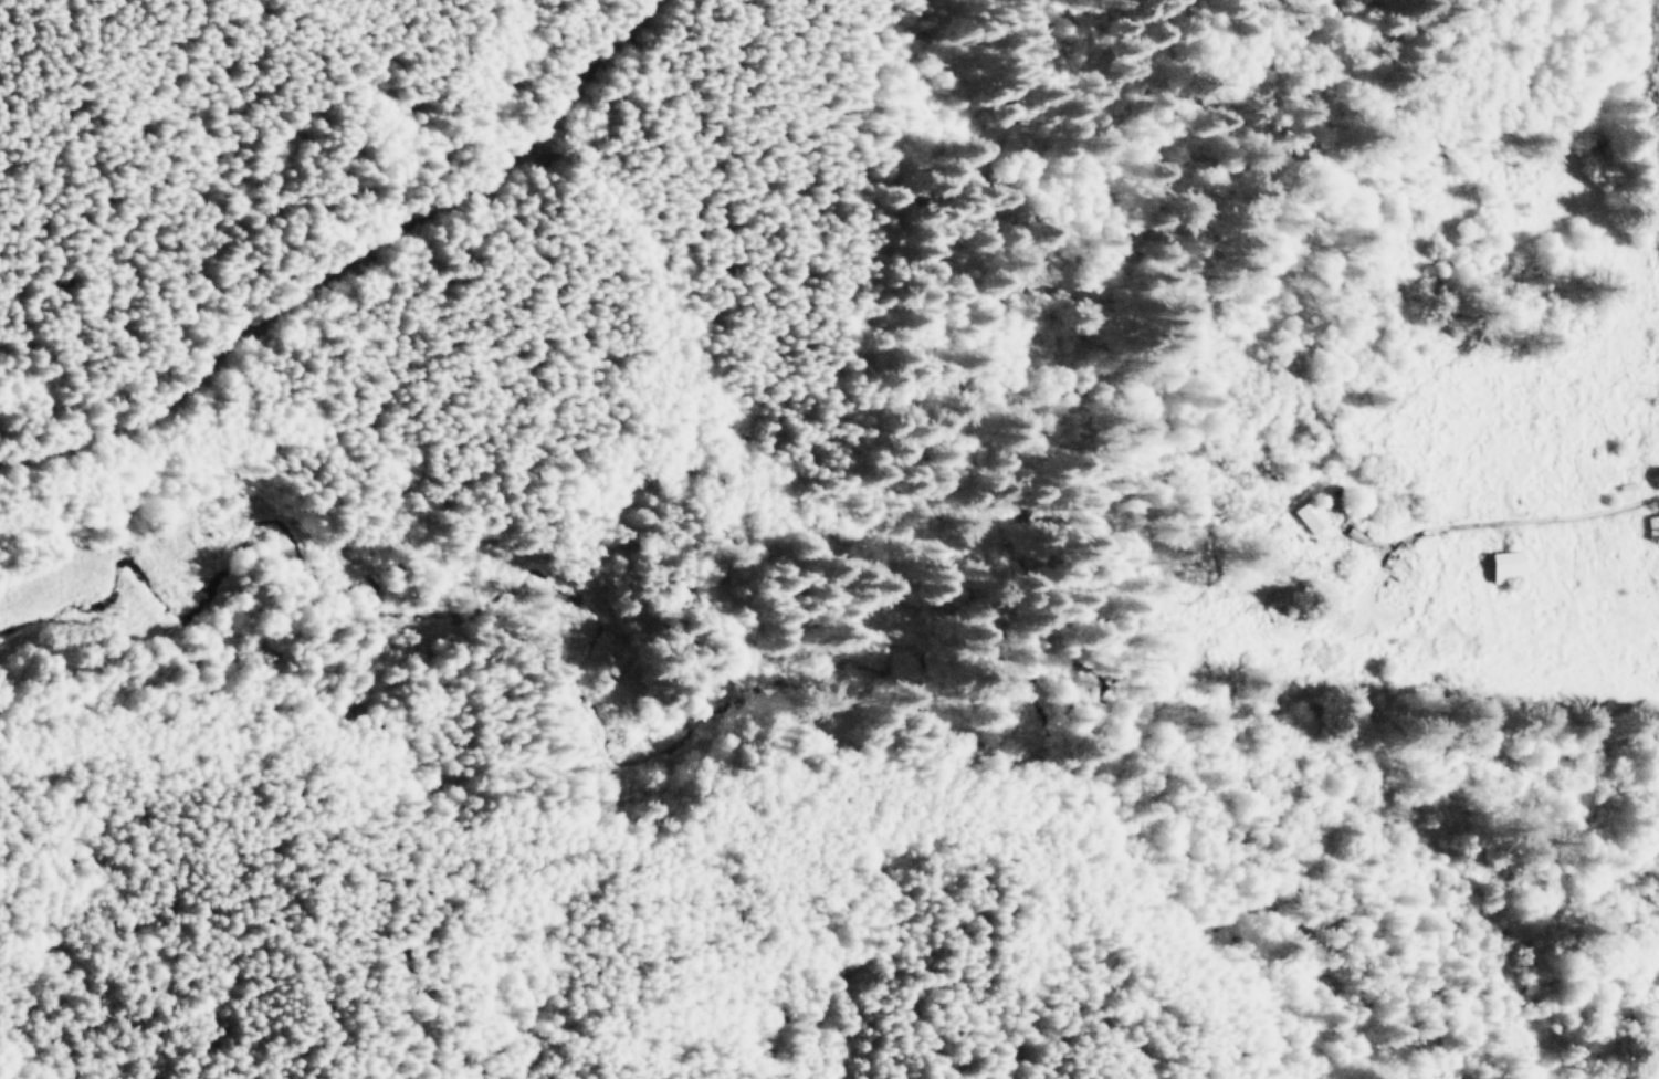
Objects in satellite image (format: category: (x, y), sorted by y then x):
road: (385, 273)
road: (1521, 521)
building: (1503, 565)

